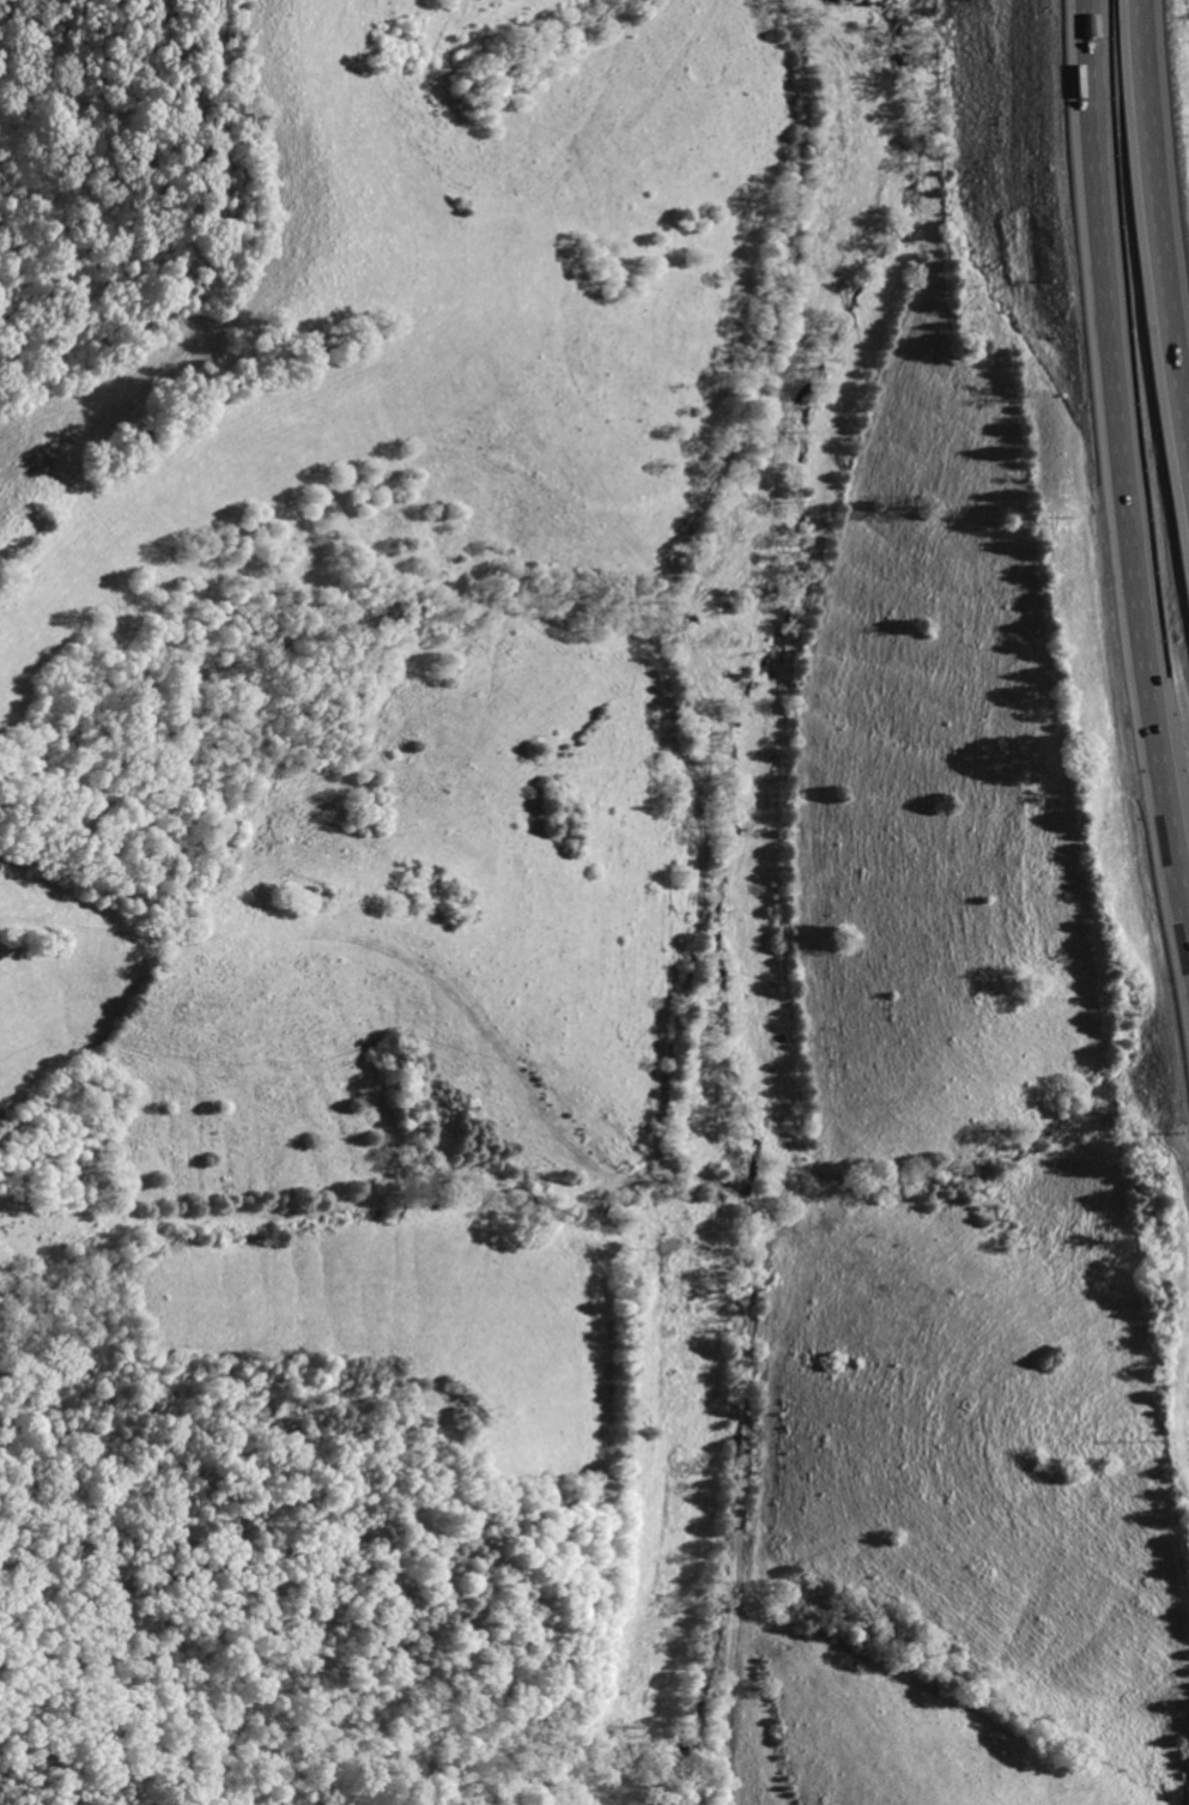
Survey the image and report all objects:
road: (1158, 220)
road: (1121, 491)
road: (696, 927)

